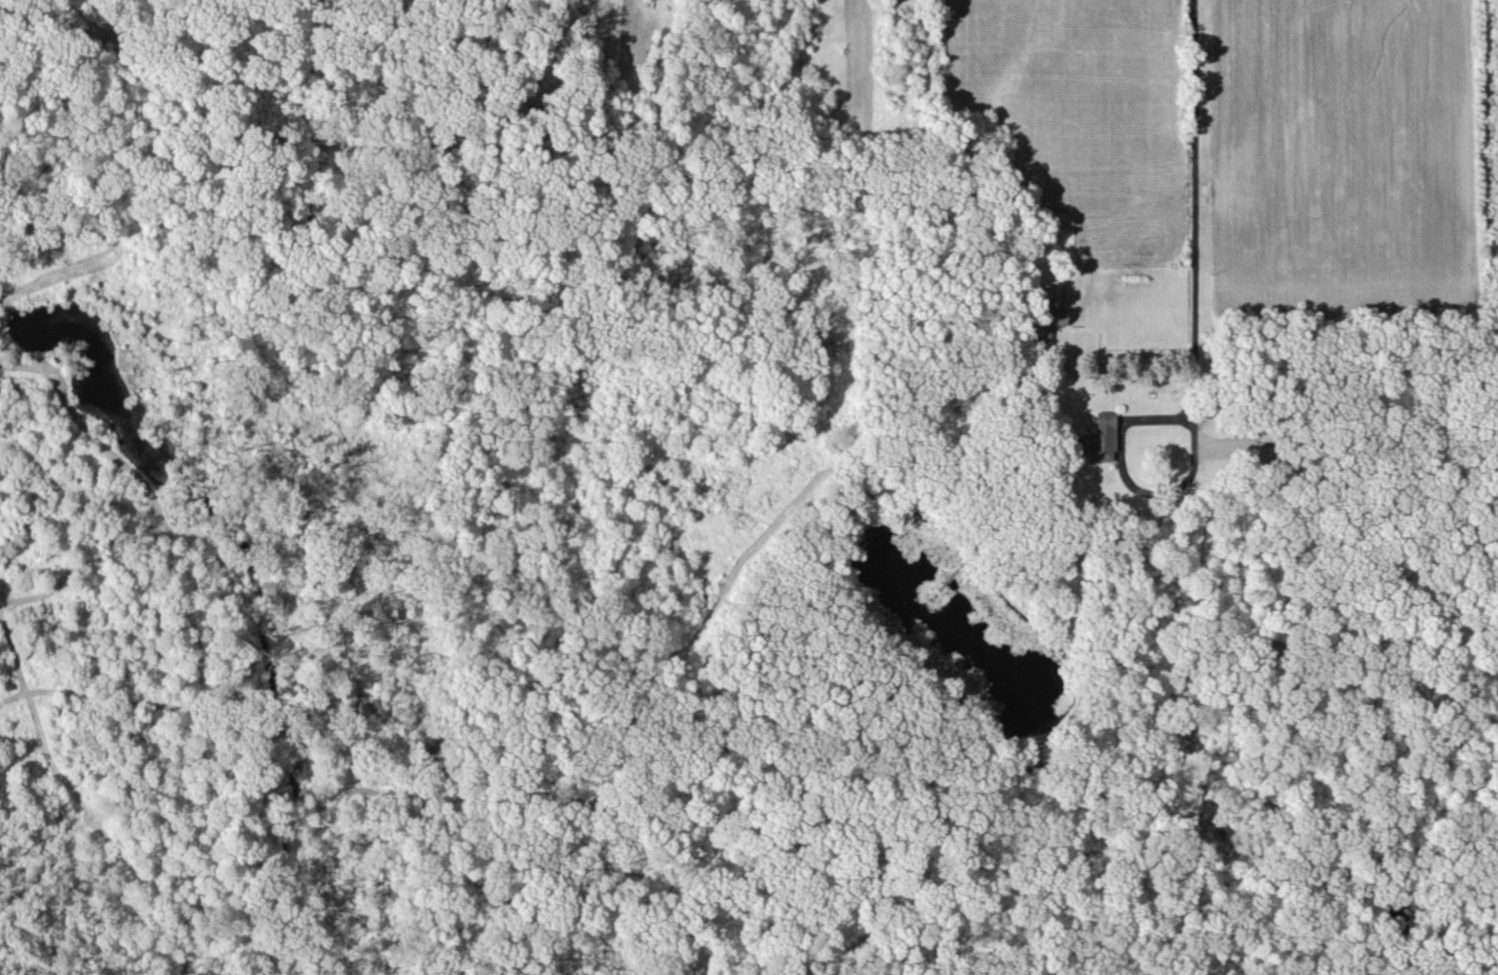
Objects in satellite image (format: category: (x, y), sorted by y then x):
road: (1192, 223)
building: (1048, 312)
building: (1100, 438)

